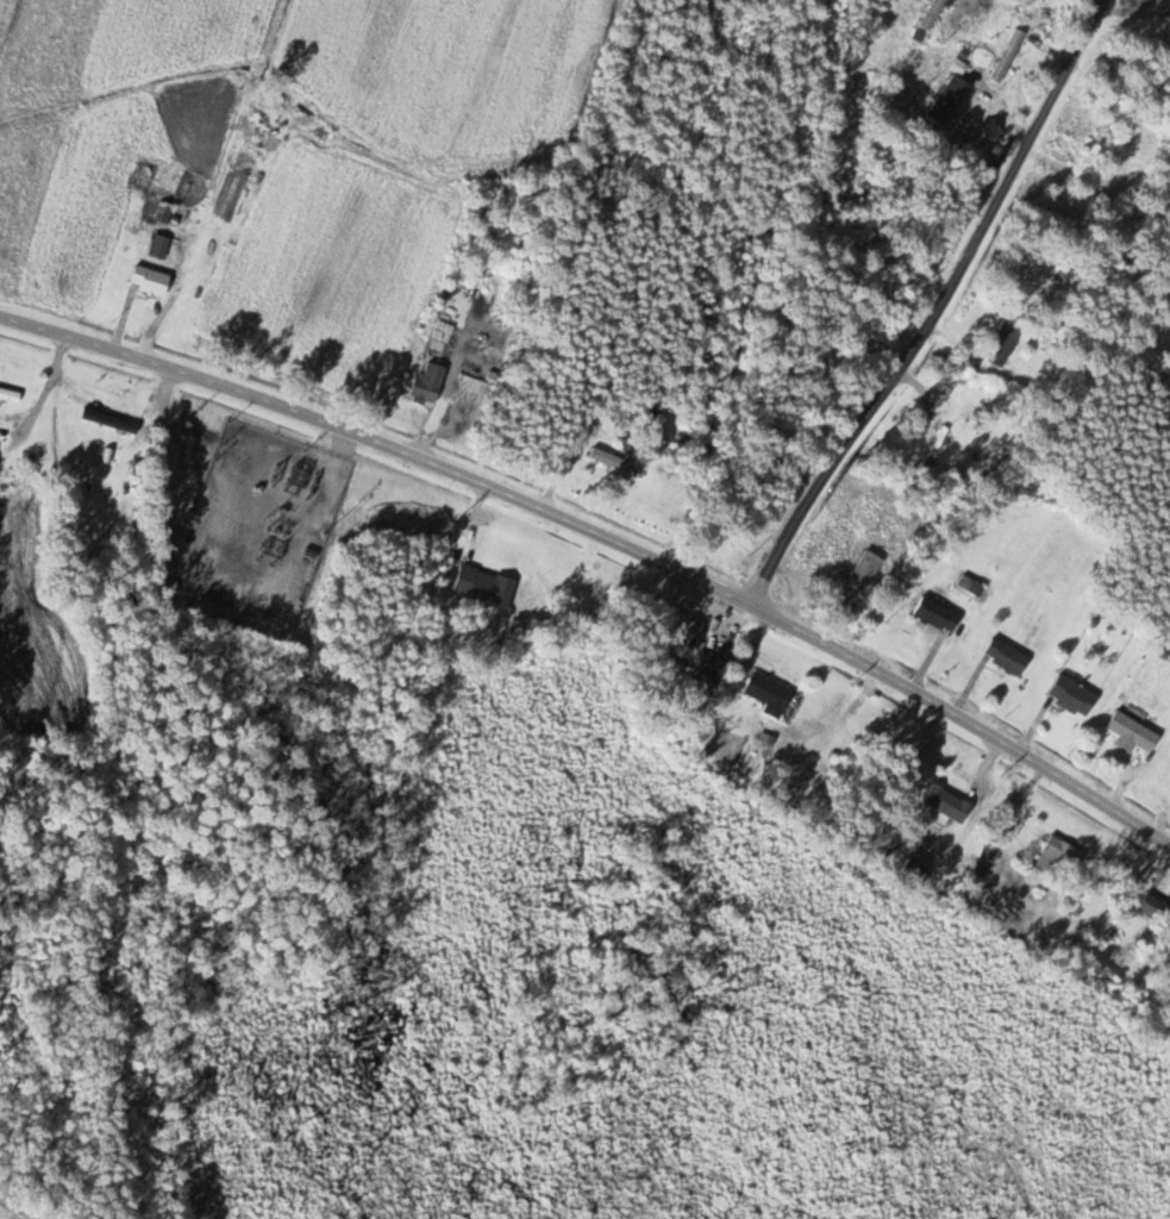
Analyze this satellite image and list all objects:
road: (1084, 10)
building: (1009, 56)
building: (1119, 63)
building: (950, 100)
building: (165, 211)
building: (161, 245)
building: (908, 268)
building: (151, 280)
road: (930, 313)
building: (438, 340)
building: (1005, 345)
building: (431, 382)
building: (10, 395)
building: (111, 420)
building: (938, 423)
road: (605, 535)
building: (868, 567)
building: (486, 587)
building: (938, 614)
building: (1007, 657)
building: (771, 694)
building: (1075, 695)
building: (1134, 733)
building: (950, 804)
building: (1064, 855)
building: (918, 871)
building: (1156, 909)

